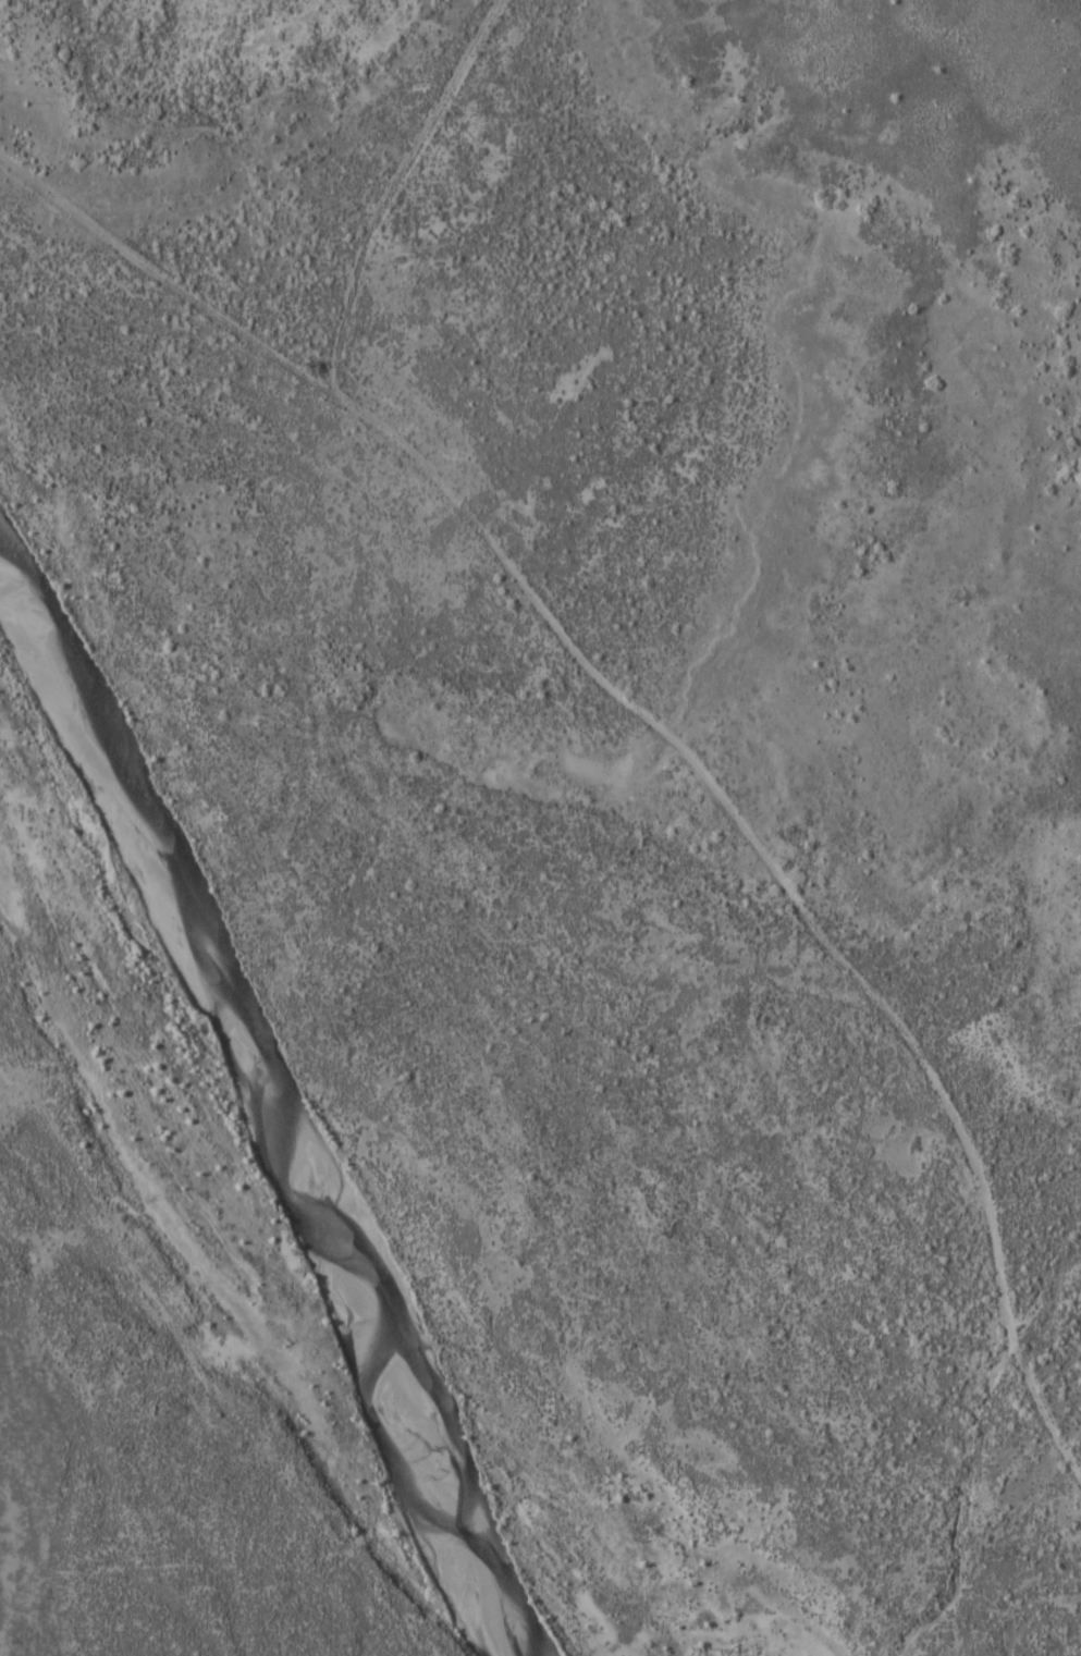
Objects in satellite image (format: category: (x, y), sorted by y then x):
river: (283, 1096)

